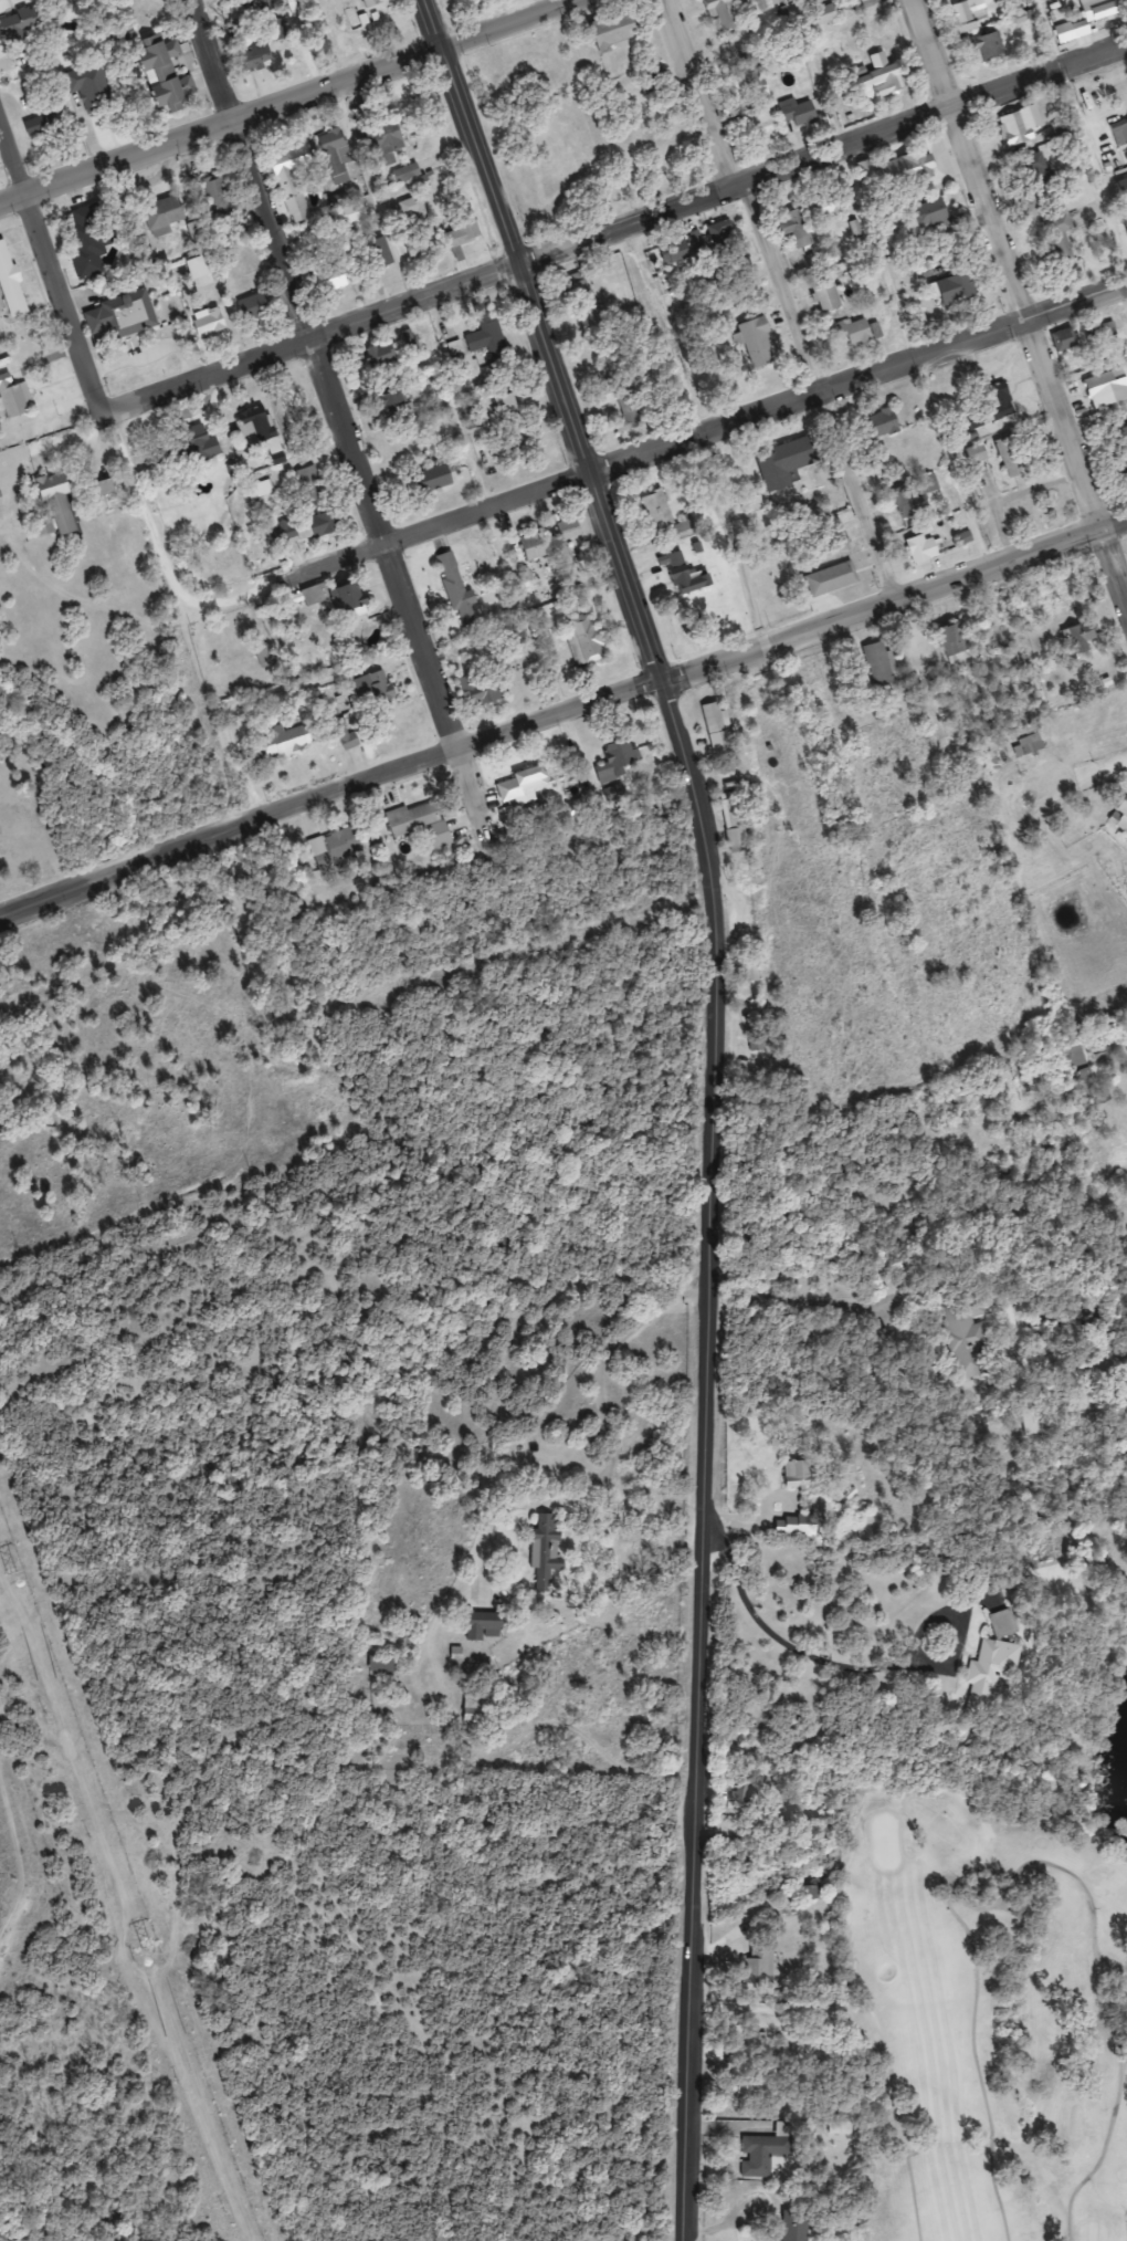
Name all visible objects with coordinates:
building: (371, 2)
building: (759, 6)
building: (966, 9)
building: (1100, 9)
building: (726, 13)
building: (825, 14)
building: (23, 23)
building: (614, 31)
building: (989, 48)
building: (254, 55)
building: (167, 74)
building: (885, 78)
building: (94, 87)
road: (302, 92)
road: (1088, 112)
building: (801, 114)
building: (760, 123)
building: (46, 125)
building: (1021, 126)
road: (17, 132)
building: (1119, 133)
building: (382, 139)
building: (335, 155)
building: (913, 168)
building: (407, 172)
building: (293, 179)
building: (1123, 189)
road: (17, 190)
building: (217, 198)
building: (339, 200)
building: (826, 206)
building: (414, 211)
building: (1052, 211)
building: (165, 213)
building: (352, 214)
building: (1124, 216)
building: (930, 218)
road: (620, 226)
building: (798, 229)
building: (88, 238)
building: (723, 238)
building: (463, 239)
building: (422, 247)
building: (675, 251)
building: (381, 252)
road: (1005, 261)
building: (196, 269)
road: (903, 276)
building: (333, 281)
building: (11, 282)
building: (957, 289)
road: (783, 293)
building: (826, 295)
road: (74, 297)
building: (586, 301)
building: (255, 306)
building: (120, 316)
building: (209, 322)
building: (1109, 328)
building: (862, 332)
building: (489, 336)
building: (1065, 338)
building: (758, 343)
building: (381, 356)
road: (323, 370)
building: (1107, 389)
building: (14, 397)
building: (1001, 400)
building: (396, 404)
building: (629, 407)
building: (513, 422)
building: (880, 423)
building: (256, 426)
road: (705, 427)
building: (1121, 447)
building: (192, 448)
building: (977, 454)
building: (1012, 457)
building: (787, 462)
building: (434, 478)
building: (312, 483)
building: (106, 488)
building: (916, 498)
building: (60, 504)
building: (656, 511)
building: (686, 522)
building: (305, 528)
building: (569, 528)
road: (741, 530)
building: (840, 543)
building: (534, 546)
building: (921, 548)
road: (164, 554)
road: (1112, 555)
building: (450, 569)
building: (689, 575)
building: (831, 579)
building: (338, 598)
building: (467, 612)
building: (1078, 636)
building: (583, 639)
building: (957, 641)
building: (264, 657)
building: (880, 664)
building: (373, 689)
building: (483, 689)
road: (562, 706)
building: (715, 715)
building: (286, 743)
building: (1028, 744)
building: (618, 761)
building: (524, 784)
road: (472, 790)
building: (617, 794)
building: (1120, 815)
building: (421, 823)
building: (735, 825)
building: (344, 845)
building: (1077, 1060)
road: (715, 1097)
building: (966, 1337)
building: (1029, 1414)
building: (800, 1473)
building: (797, 1525)
building: (546, 1549)
power tower: (12, 1570)
building: (1003, 1624)
building: (485, 1625)
building: (999, 1656)
building: (385, 1663)
building: (474, 1708)
dam: (7, 1864)
building: (815, 1886)
power tower: (145, 1945)
building: (759, 1964)
park: (994, 1999)
building: (745, 2088)
building: (763, 2155)
building: (794, 2226)

